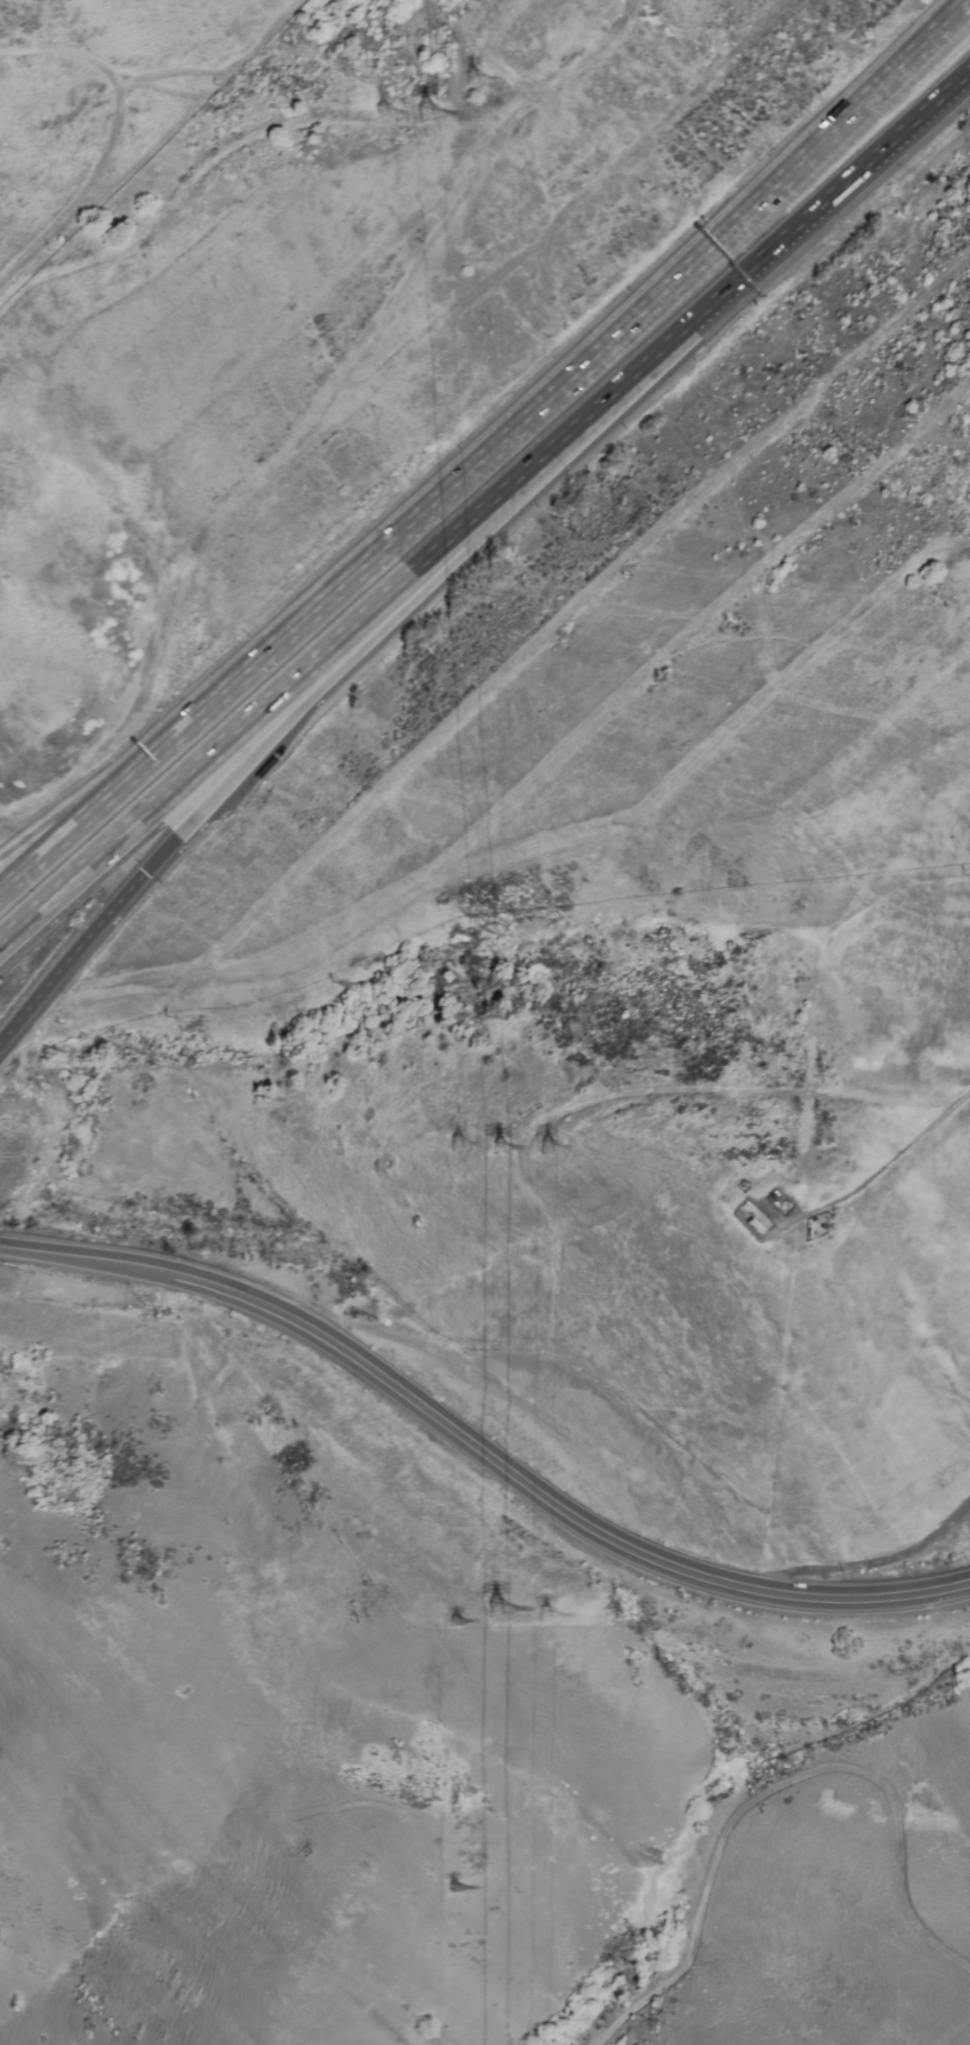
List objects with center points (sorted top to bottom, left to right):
power tower: (467, 80)
power tower: (375, 113)
power tower: (416, 116)
road: (809, 155)
road: (855, 180)
road: (381, 549)
road: (581, 608)
road: (370, 613)
road: (604, 710)
road: (269, 732)
road: (720, 747)
road: (820, 776)
road: (57, 827)
road: (57, 840)
street lamp: (136, 861)
road: (70, 959)
road: (120, 988)
road: (729, 1090)
power tower: (456, 1144)
power tower: (493, 1146)
power tower: (543, 1147)
road: (885, 1167)
street lamp: (35, 1229)
road: (50, 1256)
road: (521, 1477)
power tower: (500, 1607)
power tower: (541, 1612)
power tower: (450, 1621)
road: (786, 1786)

